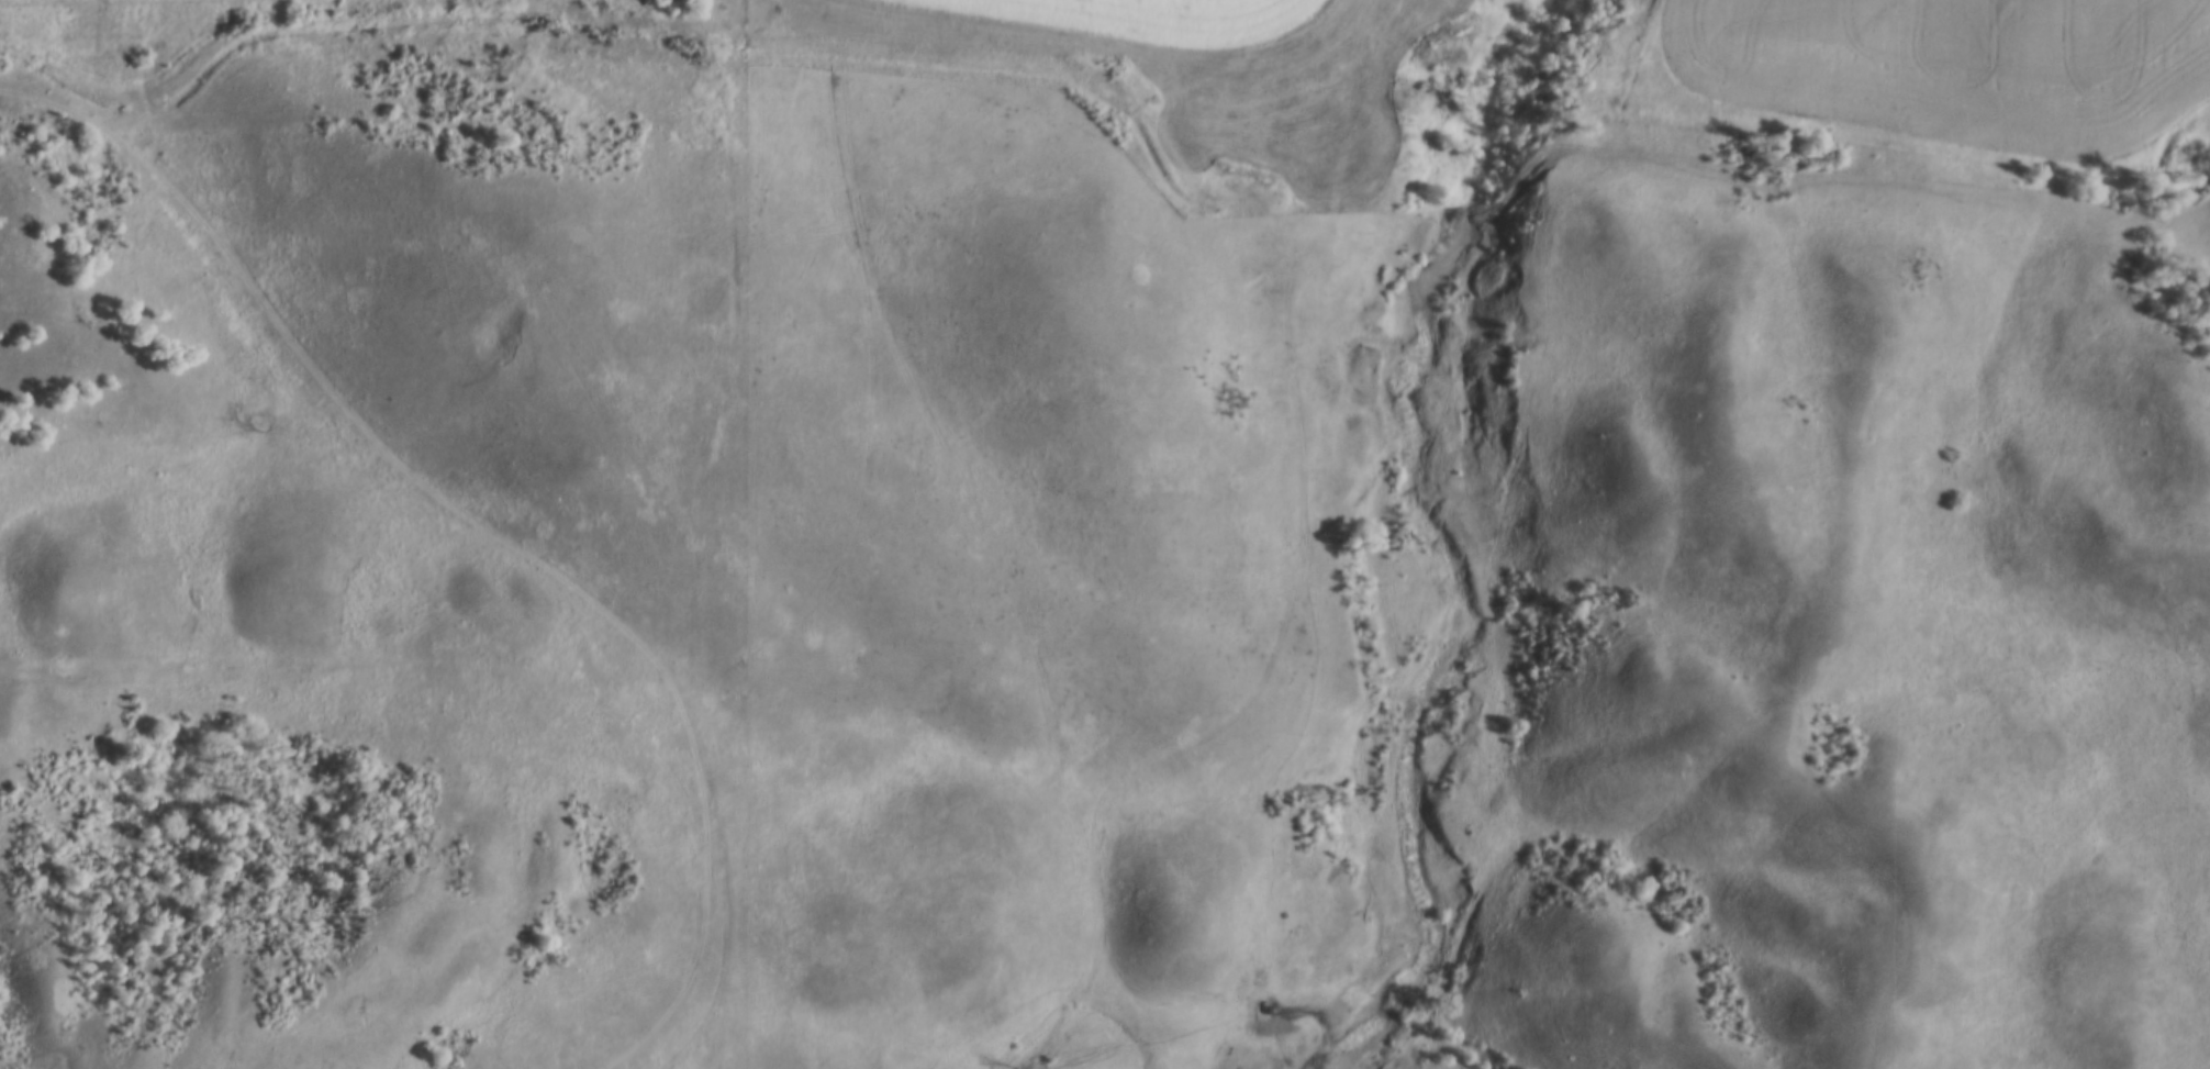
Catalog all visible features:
road: (791, 49)

